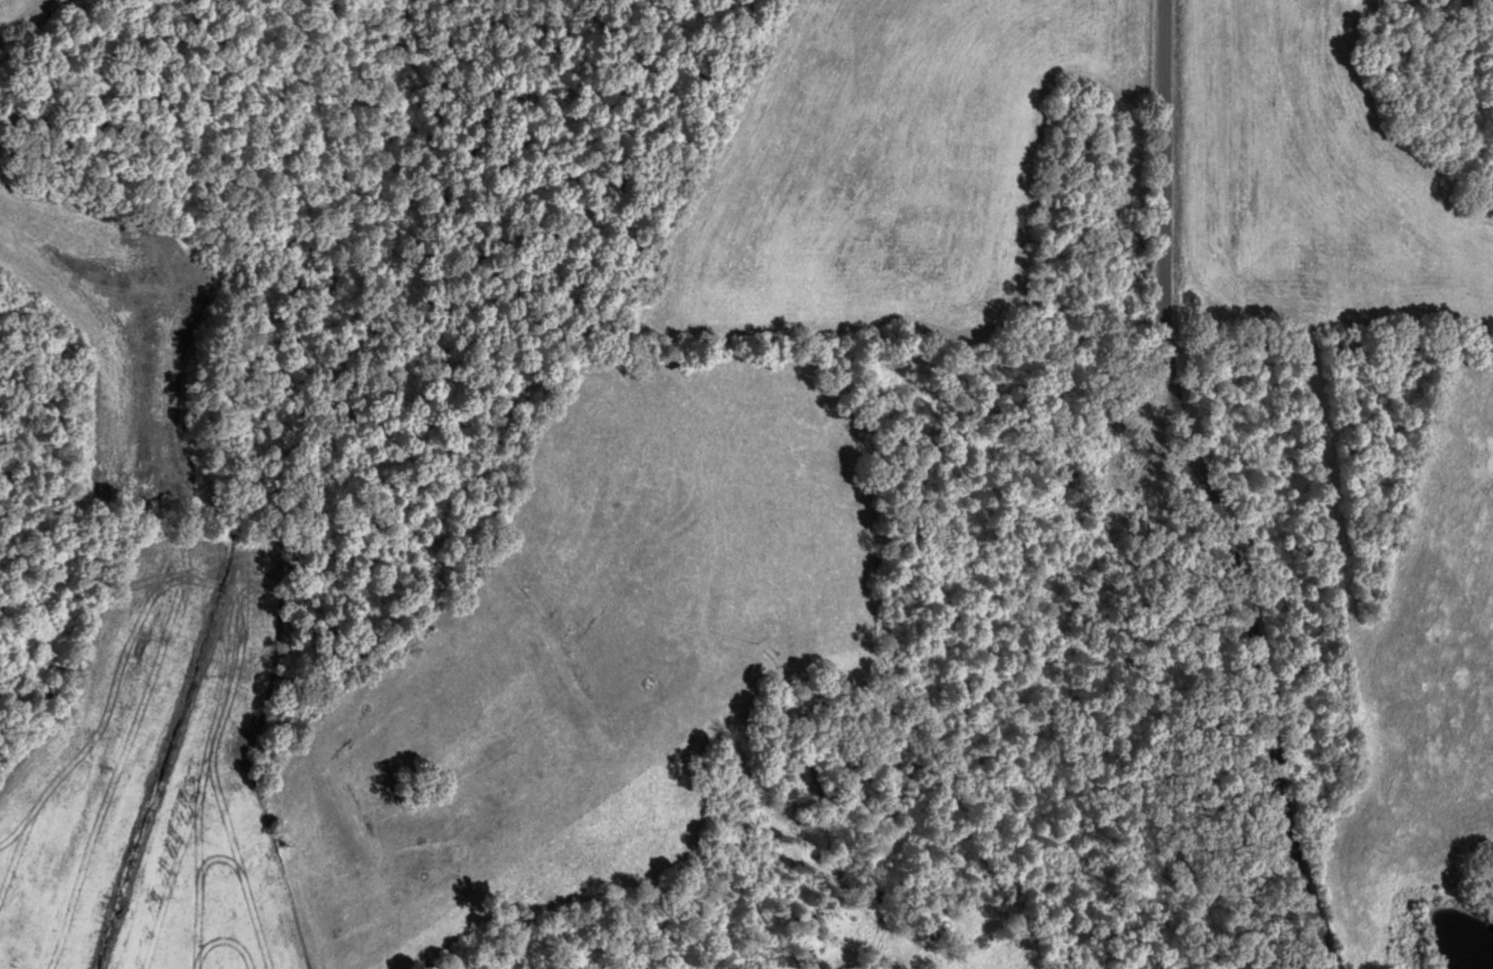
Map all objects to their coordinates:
road: (1329, 356)
road: (1201, 491)

